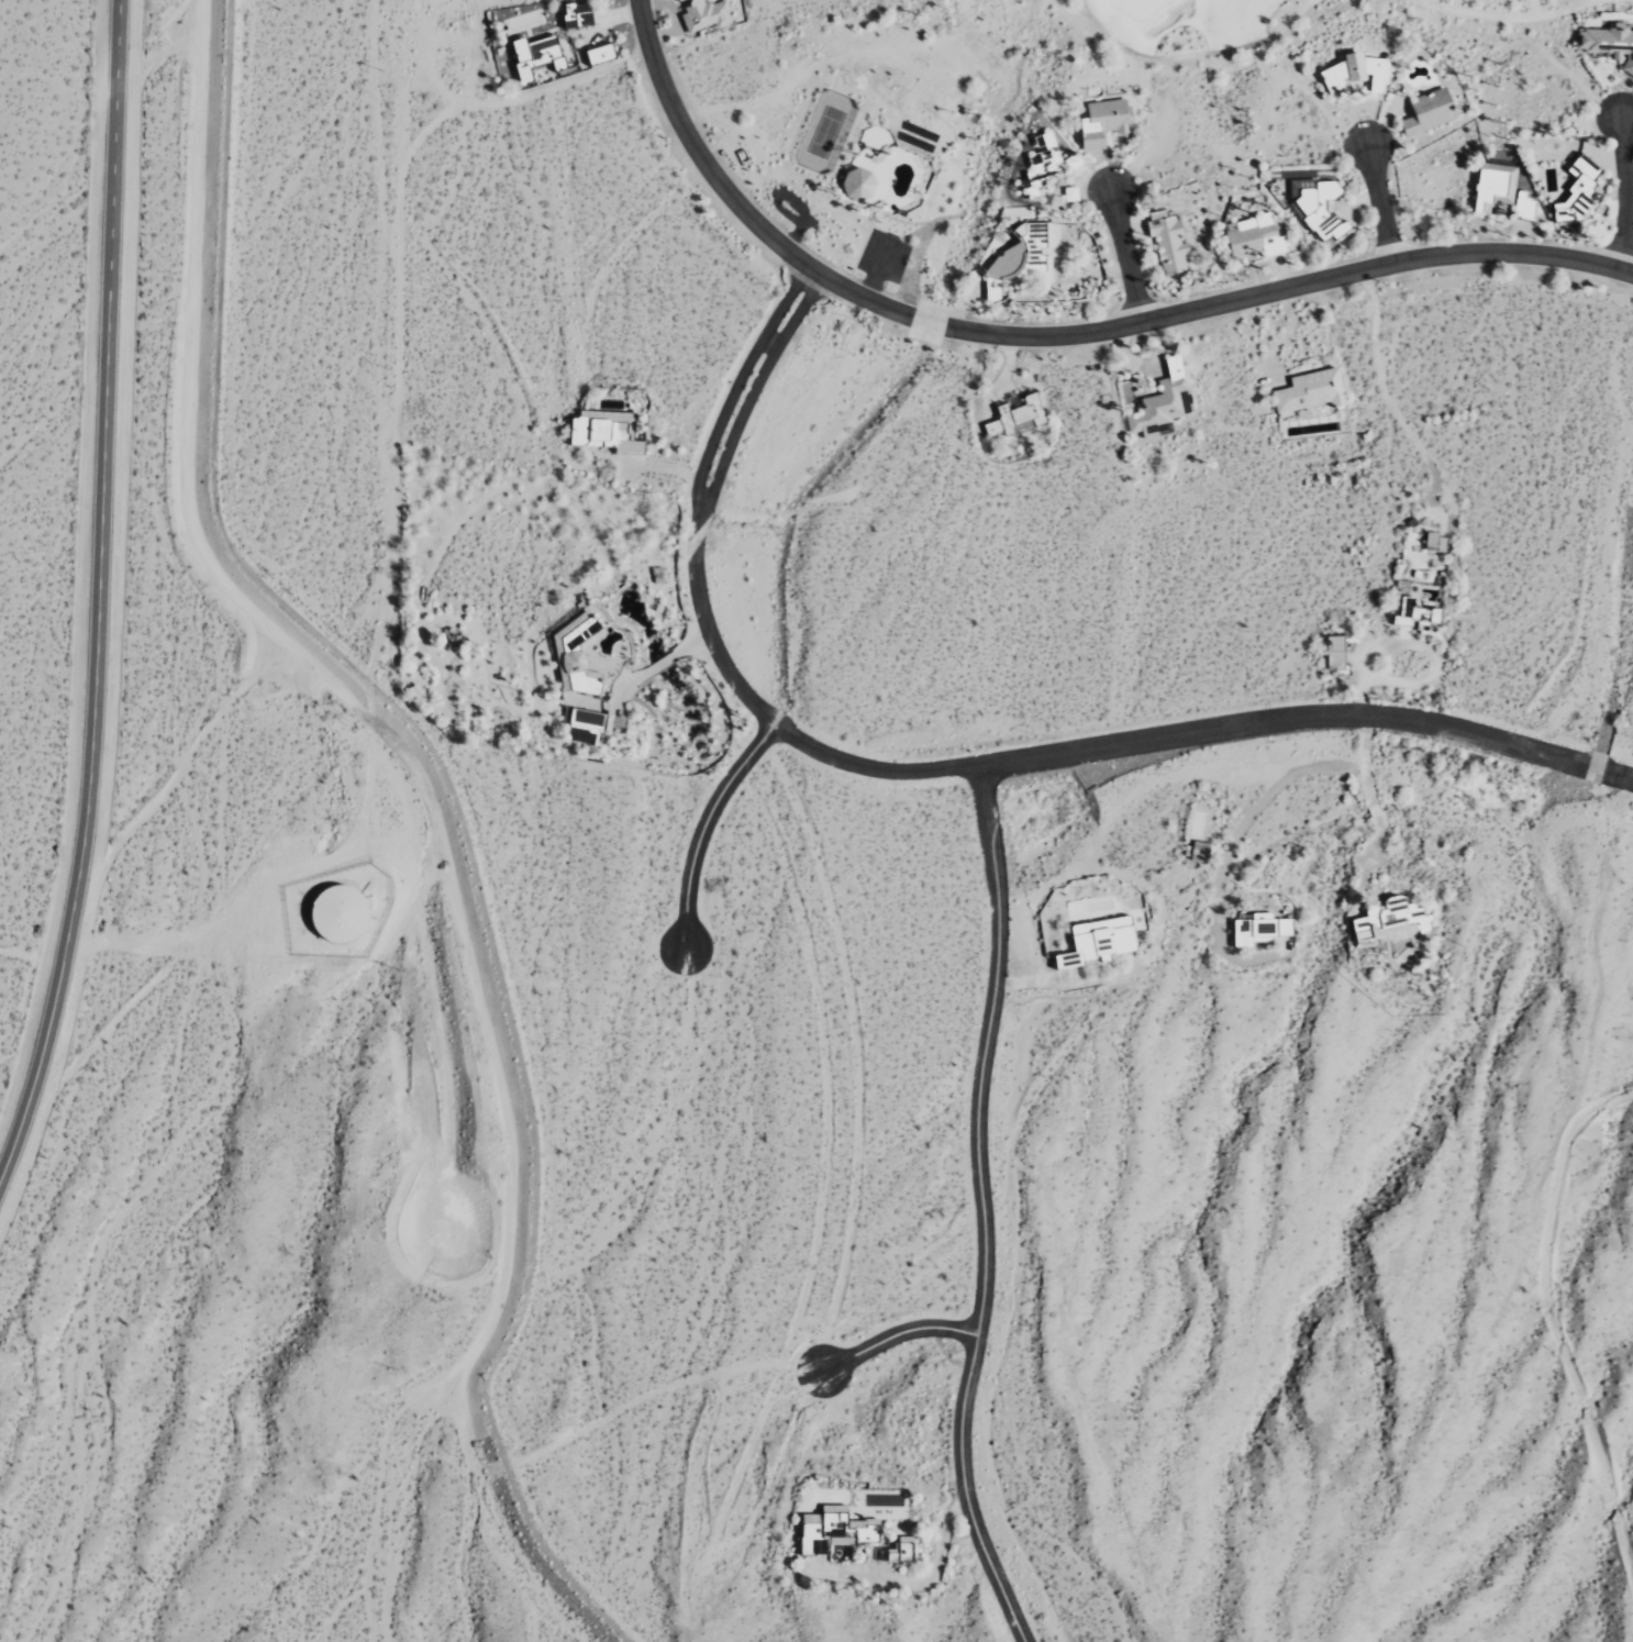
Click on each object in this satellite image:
park: (1133, 8)
building: (700, 13)
building: (575, 15)
park: (1275, 22)
building: (1608, 41)
building: (598, 54)
building: (534, 56)
building: (1353, 68)
building: (1426, 108)
building: (1099, 120)
building: (1042, 155)
building: (1073, 162)
building: (1490, 184)
building: (858, 185)
building: (1576, 187)
road: (1625, 196)
building: (1321, 206)
road: (1380, 206)
building: (1523, 207)
building: (1252, 236)
building: (1167, 243)
building: (1017, 257)
road: (1129, 257)
road: (1057, 333)
building: (1309, 392)
building: (1160, 401)
building: (1013, 417)
building: (604, 431)
building: (1435, 543)
road: (99, 595)
building: (1415, 601)
building: (1333, 650)
road: (1623, 654)
road: (949, 766)
road: (704, 826)
building: (1386, 919)
building: (1259, 927)
building: (1096, 939)
road: (1049, 978)
road: (980, 1209)
road: (898, 1334)

